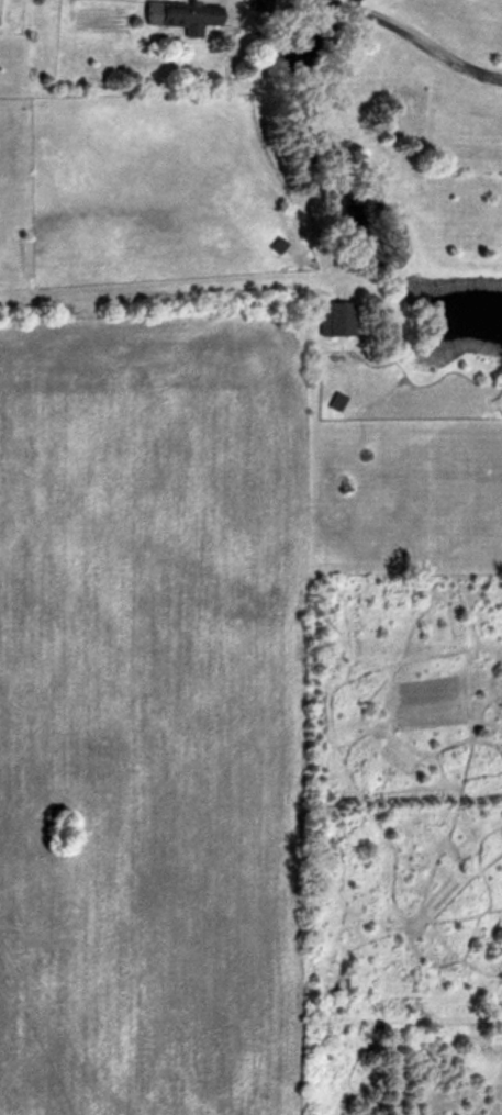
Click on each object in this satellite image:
building: (187, 16)
road: (419, 40)
building: (338, 316)
building: (337, 401)

